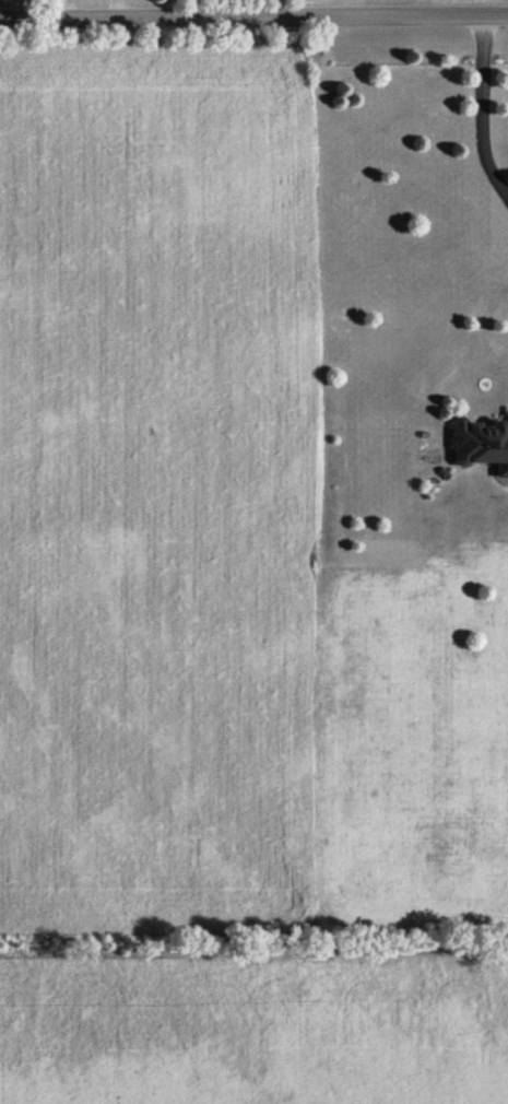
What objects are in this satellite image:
road: (64, 10)
road: (116, 10)
road: (253, 19)
road: (479, 111)
building: (481, 446)

